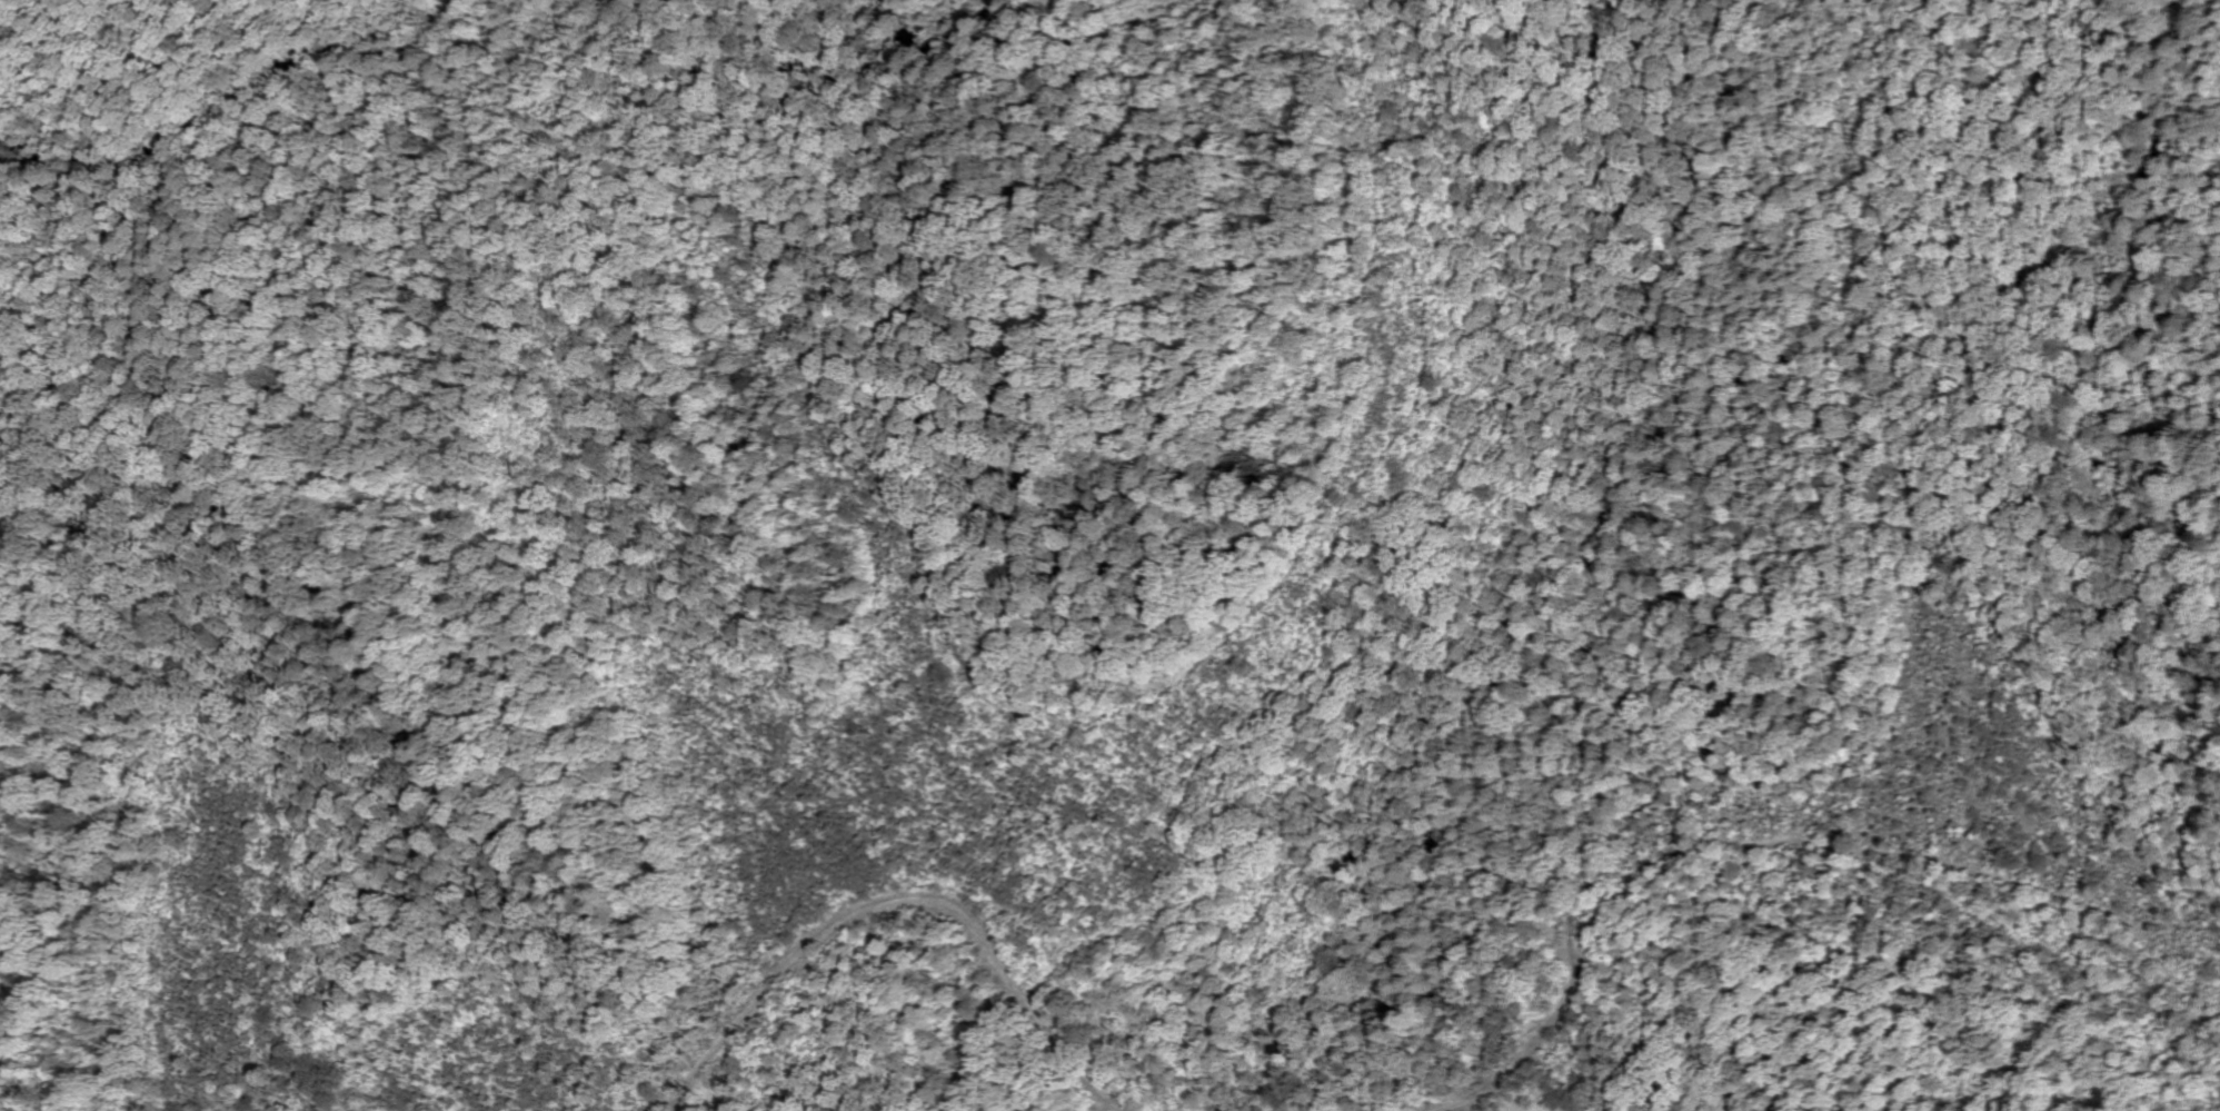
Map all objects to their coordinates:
road: (780, 966)

